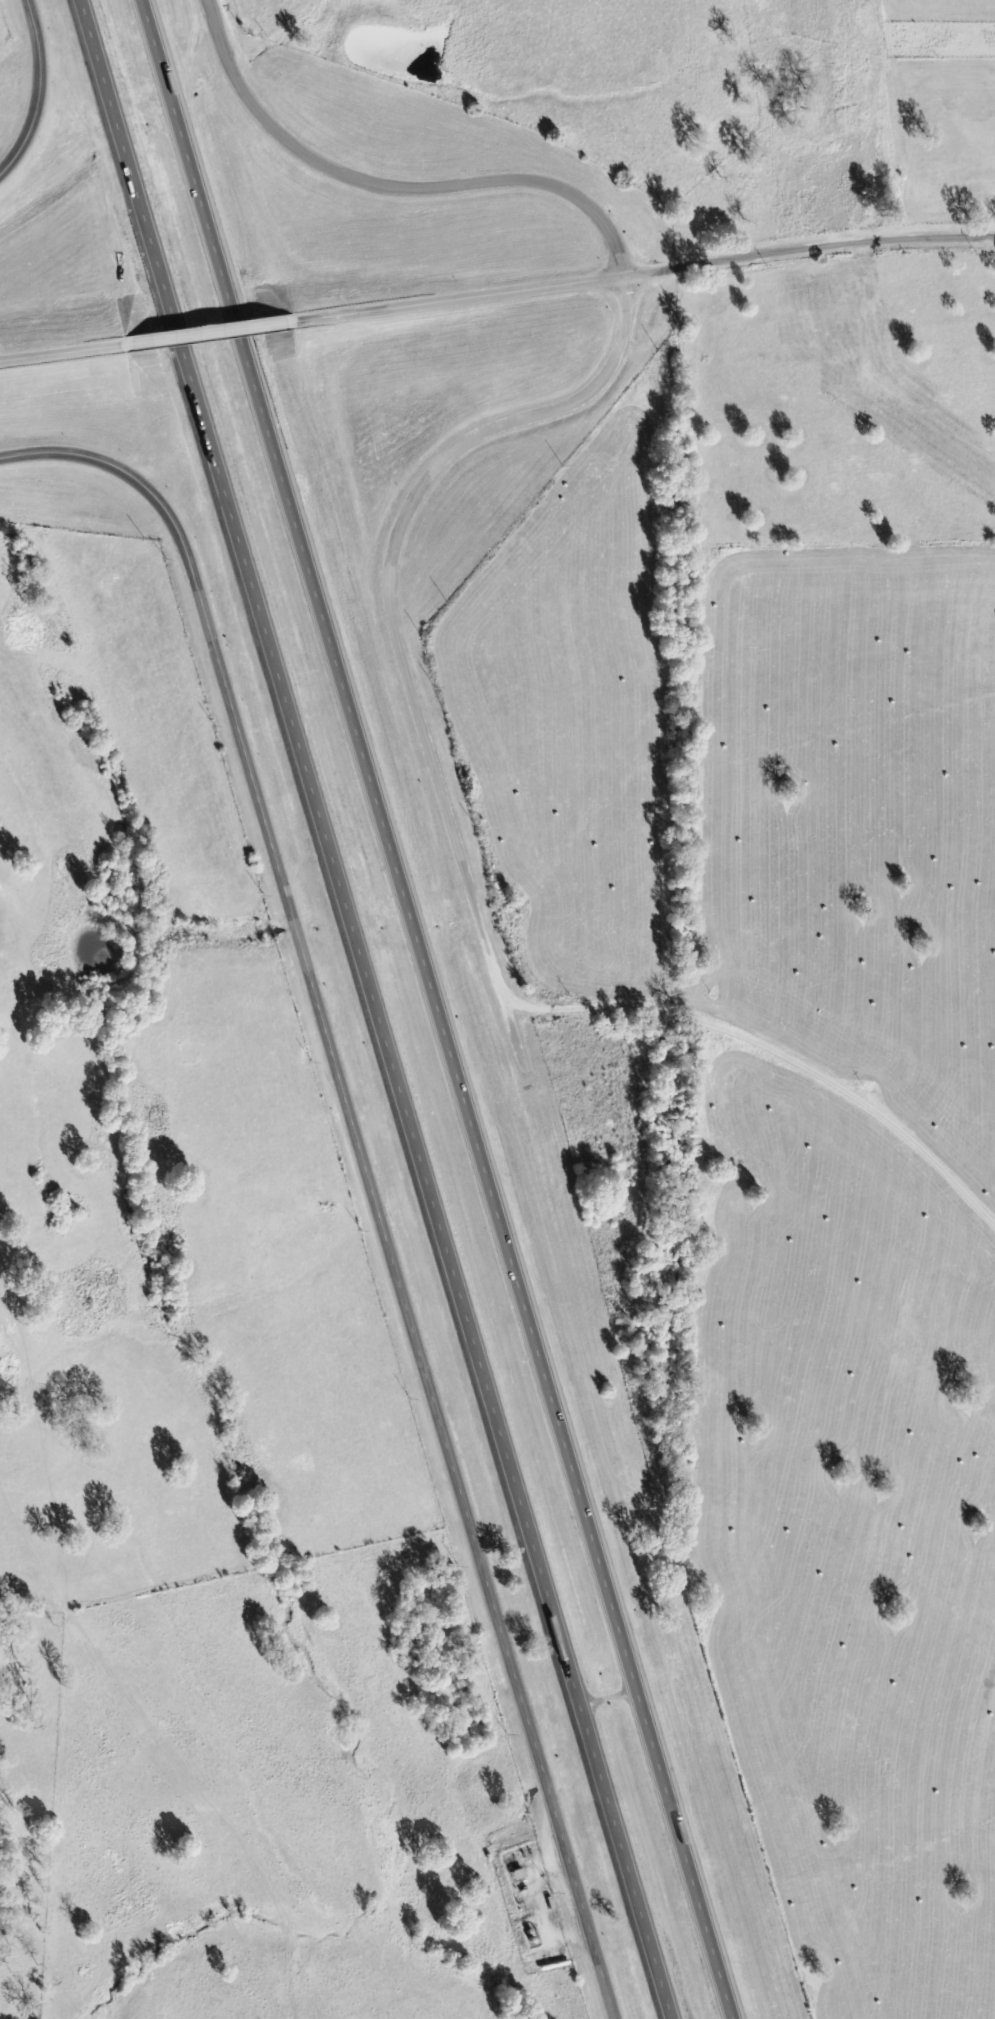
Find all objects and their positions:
road: (37, 90)
road: (648, 274)
road: (203, 338)
road: (51, 356)
road: (527, 419)
road: (373, 1010)
road: (430, 1010)
road: (771, 1047)
road: (364, 1174)
road: (538, 1903)

